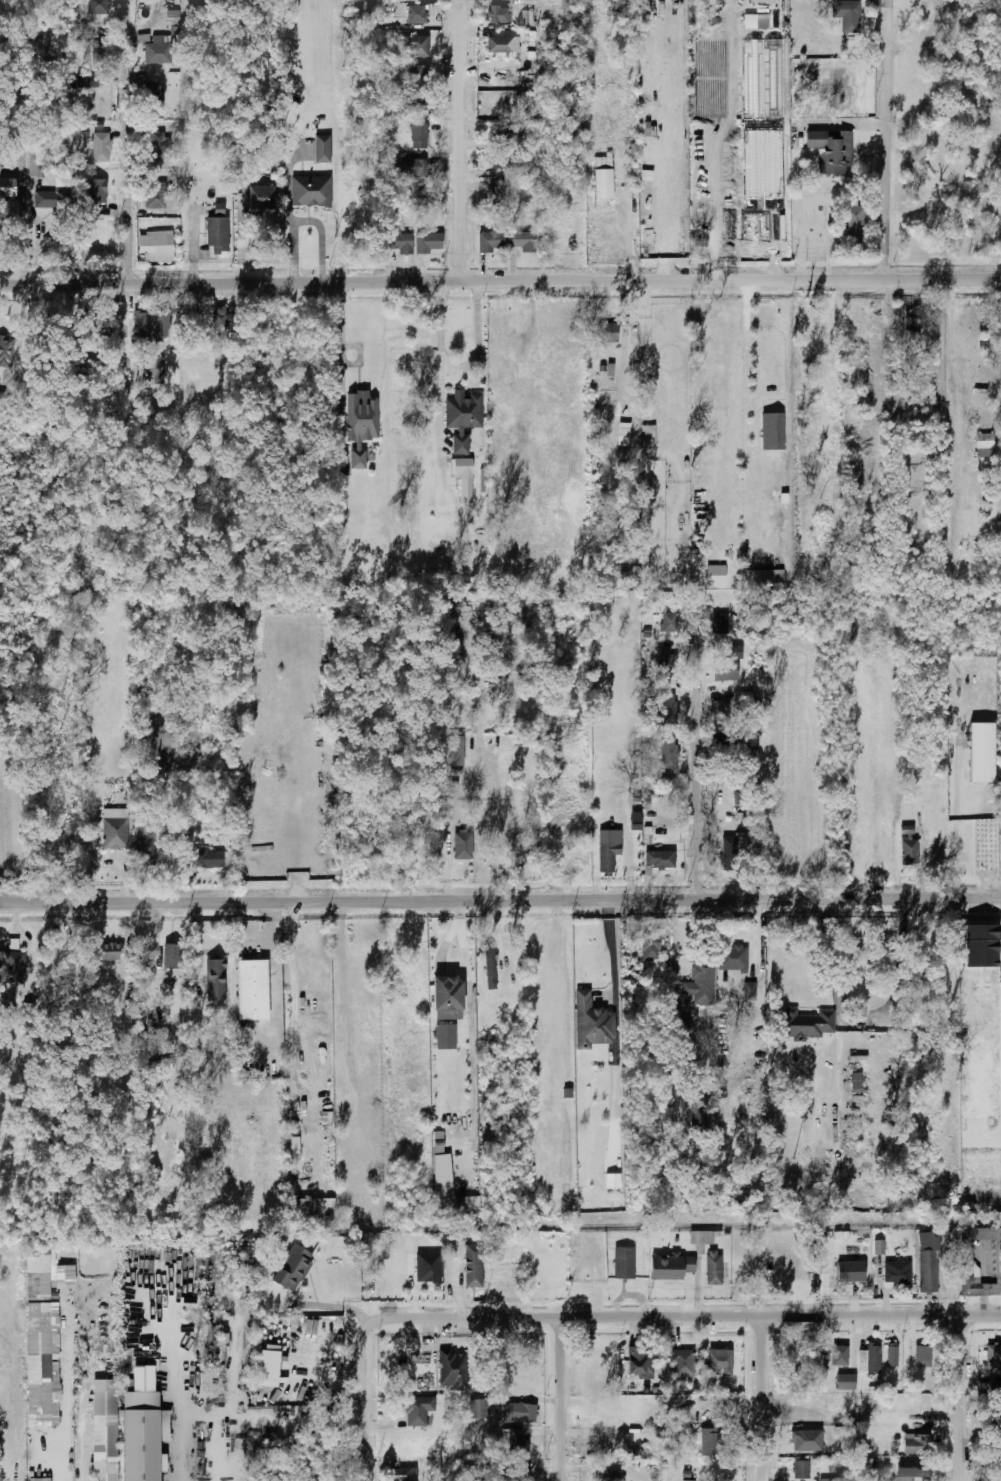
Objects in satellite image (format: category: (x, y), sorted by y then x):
building: (97, 7)
building: (497, 14)
building: (847, 14)
building: (405, 15)
building: (173, 17)
building: (415, 45)
building: (501, 45)
building: (156, 53)
building: (416, 75)
building: (88, 78)
building: (151, 90)
building: (527, 99)
building: (411, 102)
building: (508, 133)
building: (418, 135)
road: (462, 140)
road: (889, 140)
building: (160, 144)
building: (100, 147)
building: (323, 148)
building: (830, 151)
building: (35, 160)
building: (409, 168)
building: (602, 179)
building: (7, 188)
building: (311, 191)
building: (53, 194)
building: (495, 194)
building: (100, 195)
building: (154, 195)
building: (418, 195)
building: (260, 198)
road: (715, 206)
road: (664, 211)
road: (306, 220)
building: (853, 220)
building: (216, 234)
building: (395, 239)
building: (521, 241)
road: (629, 241)
building: (428, 243)
building: (489, 243)
building: (159, 244)
road: (774, 262)
road: (130, 281)
road: (500, 281)
building: (913, 319)
building: (140, 325)
building: (160, 325)
building: (605, 333)
road: (646, 336)
road: (750, 336)
road: (341, 337)
road: (476, 339)
building: (5, 351)
building: (155, 366)
road: (440, 368)
building: (461, 417)
building: (359, 424)
building: (772, 431)
building: (623, 434)
building: (649, 443)
building: (984, 445)
building: (460, 465)
building: (716, 575)
building: (764, 577)
building: (669, 621)
building: (718, 623)
building: (736, 652)
building: (665, 663)
building: (724, 671)
building: (145, 692)
building: (660, 710)
building: (718, 711)
road: (698, 748)
building: (451, 751)
building: (981, 752)
building: (668, 753)
building: (54, 820)
building: (635, 821)
road: (955, 822)
building: (113, 833)
building: (990, 841)
building: (461, 846)
building: (906, 846)
building: (143, 851)
road: (448, 852)
building: (729, 855)
building: (606, 856)
building: (660, 859)
building: (206, 860)
road: (500, 900)
building: (14, 943)
building: (650, 945)
building: (106, 951)
building: (171, 956)
building: (731, 958)
building: (11, 966)
building: (488, 966)
building: (699, 978)
building: (214, 979)
road: (294, 988)
building: (252, 989)
building: (747, 990)
building: (29, 991)
building: (448, 998)
building: (27, 1015)
building: (592, 1022)
building: (803, 1023)
road: (861, 1023)
building: (686, 1026)
building: (856, 1080)
building: (337, 1121)
building: (294, 1148)
building: (612, 1182)
building: (449, 1185)
building: (312, 1210)
building: (702, 1237)
building: (821, 1247)
building: (879, 1247)
building: (966, 1261)
building: (927, 1262)
building: (623, 1263)
building: (472, 1265)
building: (291, 1267)
building: (428, 1267)
building: (669, 1267)
building: (712, 1268)
building: (849, 1271)
building: (896, 1272)
building: (37, 1285)
road: (321, 1305)
road: (690, 1318)
building: (35, 1338)
building: (993, 1354)
building: (840, 1356)
building: (894, 1356)
building: (920, 1356)
building: (791, 1357)
building: (869, 1359)
road: (250, 1360)
building: (721, 1361)
building: (639, 1362)
building: (682, 1364)
building: (451, 1370)
building: (845, 1381)
road: (364, 1396)
road: (964, 1398)
road: (765, 1399)
road: (562, 1400)
building: (476, 1409)
building: (415, 1410)
building: (521, 1413)
building: (104, 1431)
road: (182, 1438)
building: (136, 1441)
building: (514, 1441)
building: (807, 1441)
building: (709, 1442)
building: (915, 1445)
building: (801, 1469)
building: (911, 1469)
building: (400, 1474)
building: (511, 1474)
building: (607, 1476)
building: (827, 1479)

